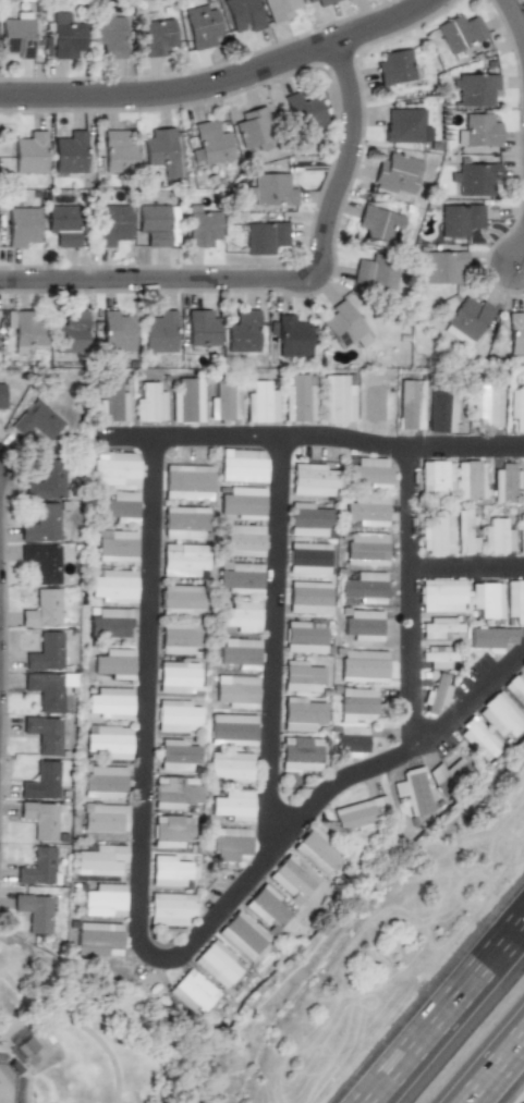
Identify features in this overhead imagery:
building: (308, 0)
building: (326, 2)
building: (279, 9)
building: (243, 14)
road: (515, 20)
building: (200, 24)
building: (461, 32)
building: (109, 34)
building: (156, 34)
building: (65, 35)
building: (15, 36)
building: (395, 66)
road: (223, 83)
building: (476, 88)
building: (303, 111)
building: (403, 124)
building: (254, 128)
building: (478, 130)
building: (211, 143)
building: (28, 150)
building: (69, 150)
building: (117, 150)
building: (161, 150)
building: (397, 173)
building: (477, 177)
building: (270, 189)
building: (460, 218)
building: (377, 222)
building: (111, 223)
building: (157, 223)
building: (62, 224)
building: (21, 226)
building: (202, 226)
building: (265, 236)
road: (521, 254)
building: (443, 266)
building: (376, 271)
road: (276, 278)
building: (468, 319)
building: (345, 326)
building: (24, 328)
building: (202, 329)
building: (117, 330)
building: (159, 331)
building: (243, 331)
building: (69, 332)
building: (516, 332)
building: (292, 335)
building: (0, 396)
building: (373, 396)
building: (298, 399)
building: (338, 399)
building: (186, 400)
building: (224, 400)
building: (260, 402)
building: (112, 403)
building: (149, 403)
building: (411, 405)
building: (487, 406)
building: (516, 407)
building: (442, 409)
building: (34, 420)
road: (254, 438)
road: (468, 449)
building: (242, 465)
building: (113, 467)
building: (369, 471)
building: (435, 476)
building: (312, 479)
building: (42, 480)
building: (470, 480)
building: (185, 481)
building: (504, 482)
building: (242, 502)
building: (119, 506)
building: (366, 510)
building: (307, 519)
building: (182, 522)
building: (38, 523)
building: (436, 531)
building: (464, 532)
building: (521, 532)
building: (498, 536)
building: (243, 540)
building: (114, 546)
building: (366, 549)
building: (307, 557)
building: (181, 559)
building: (39, 563)
road: (468, 569)
building: (110, 586)
building: (364, 587)
building: (441, 595)
building: (308, 597)
building: (179, 599)
building: (487, 599)
building: (515, 599)
building: (39, 609)
building: (241, 615)
building: (107, 623)
building: (363, 624)
building: (439, 627)
building: (304, 636)
building: (492, 637)
building: (176, 638)
road: (276, 648)
building: (42, 652)
building: (239, 652)
building: (438, 657)
building: (112, 664)
building: (363, 665)
building: (301, 676)
road: (413, 676)
building: (175, 677)
building: (516, 687)
building: (44, 690)
building: (235, 690)
building: (437, 694)
building: (109, 702)
building: (356, 704)
building: (301, 714)
building: (501, 714)
building: (174, 716)
building: (231, 730)
building: (41, 734)
building: (479, 738)
building: (351, 740)
building: (106, 742)
building: (300, 753)
building: (174, 755)
building: (230, 767)
building: (458, 771)
building: (40, 781)
building: (102, 781)
building: (413, 791)
building: (173, 792)
building: (232, 805)
building: (360, 813)
building: (103, 817)
building: (39, 819)
building: (169, 830)
building: (229, 844)
building: (316, 850)
building: (100, 860)
building: (37, 866)
road: (144, 870)
building: (167, 871)
building: (290, 881)
building: (103, 899)
building: (264, 905)
building: (169, 908)
building: (35, 911)
building: (240, 934)
building: (98, 939)
building: (215, 964)
building: (190, 991)
road: (441, 1008)
park: (103, 1043)
road: (499, 1074)

